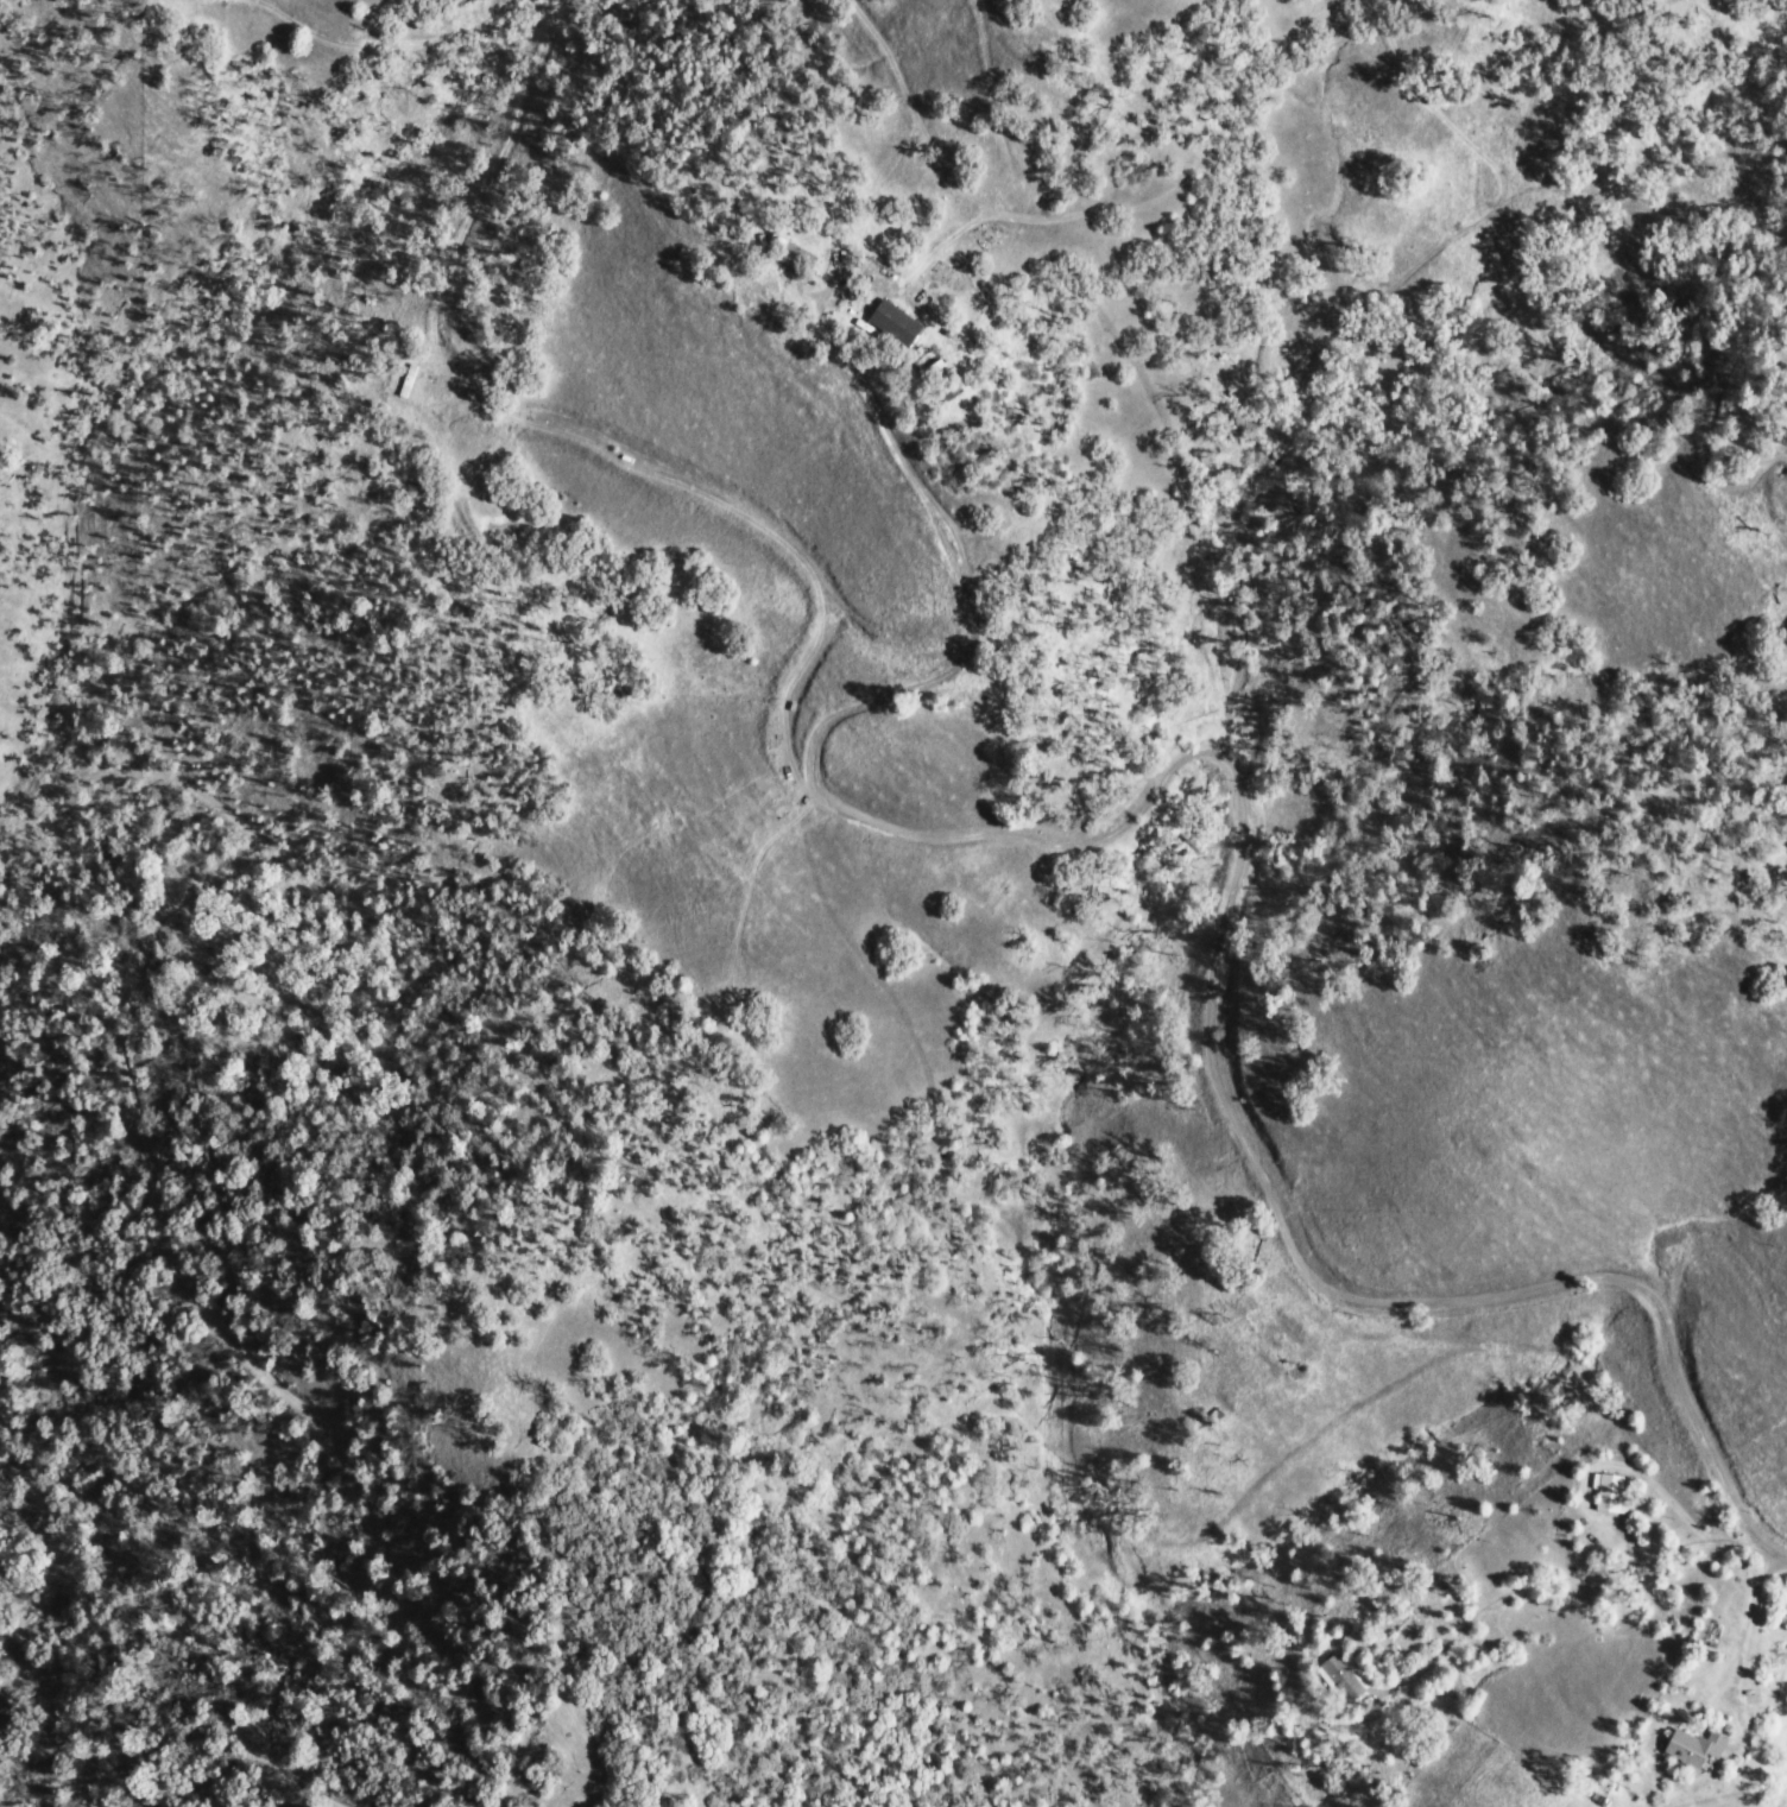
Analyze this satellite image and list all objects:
road: (1110, 4)
road: (1532, 68)
building: (798, 259)
building: (902, 324)
road: (835, 348)
road: (1246, 879)
road: (1590, 1573)
road: (1747, 1606)
building: (1347, 1678)
building: (1698, 1749)

